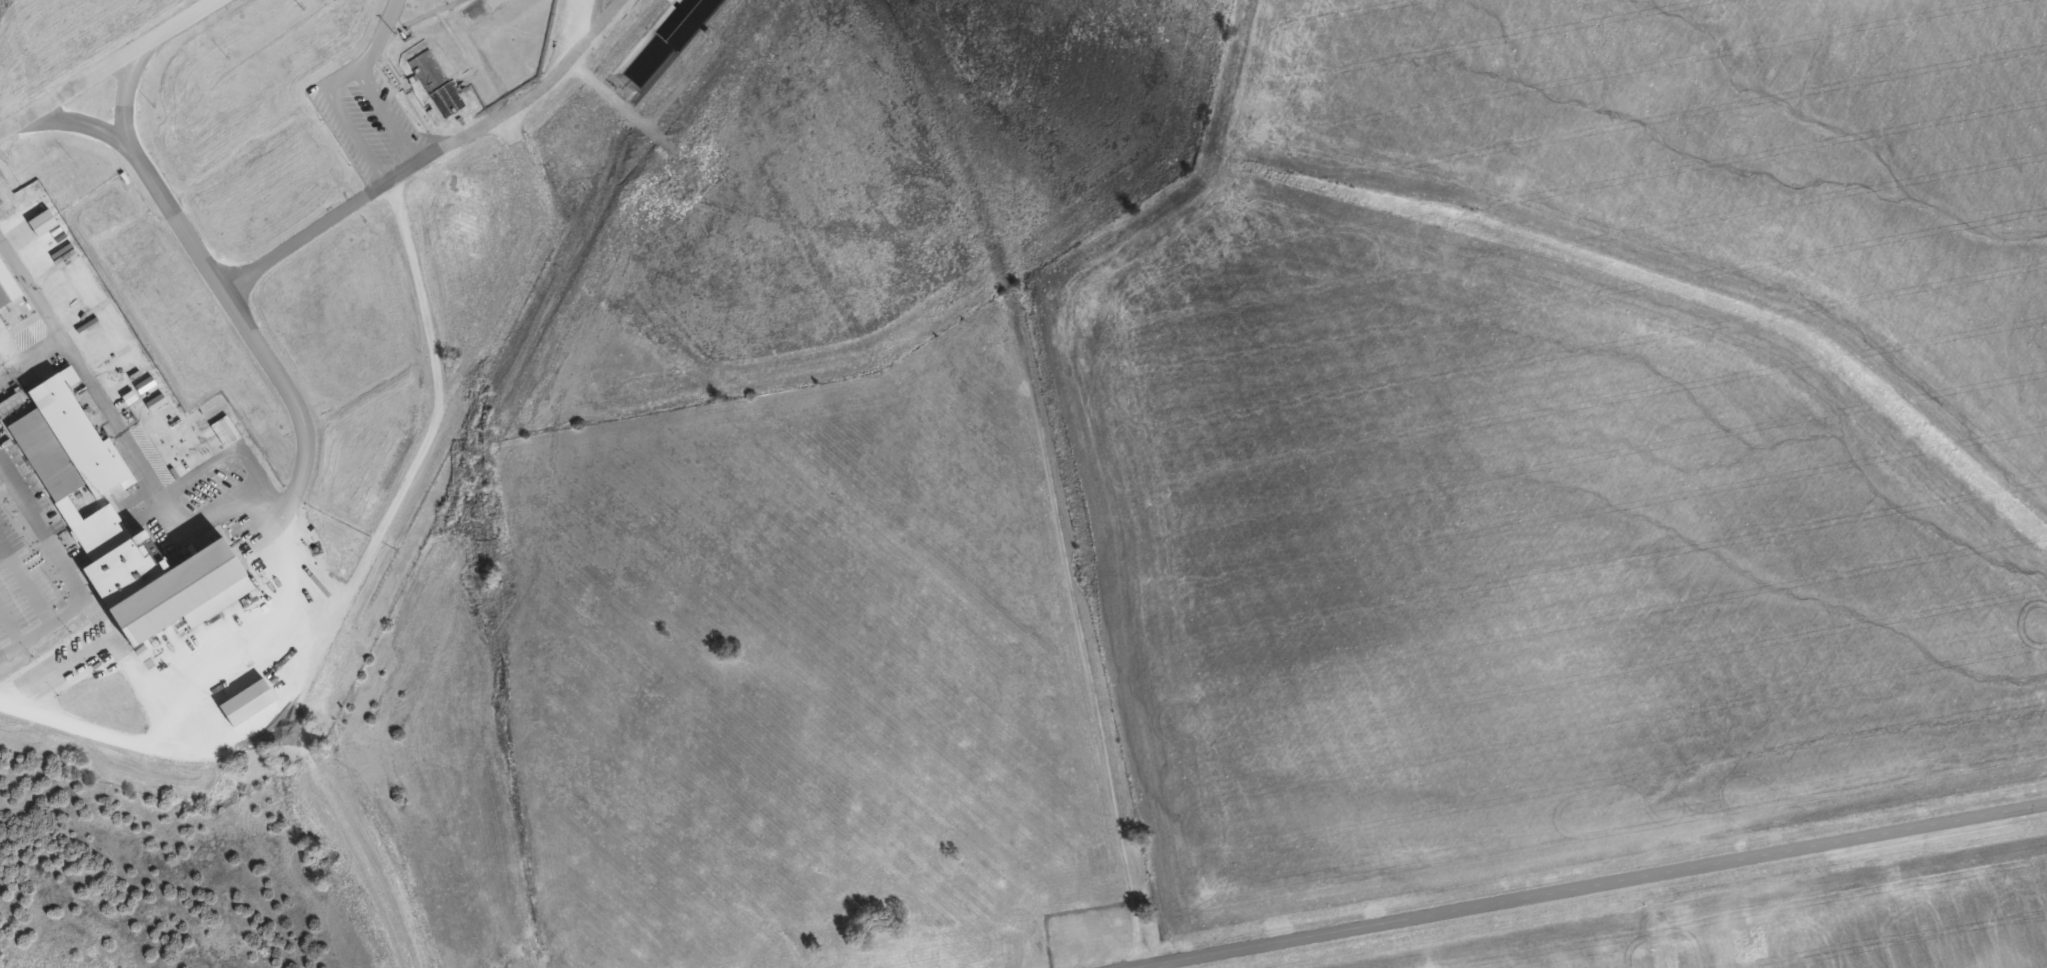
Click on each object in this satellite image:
road: (574, 10)
road: (565, 37)
road: (101, 64)
road: (362, 81)
building: (434, 83)
road: (528, 92)
road: (122, 94)
road: (618, 105)
road: (342, 119)
parking lot: (363, 119)
road: (307, 232)
building: (3, 298)
road: (256, 339)
road: (29, 357)
road: (75, 364)
railway: (90, 386)
parking lot: (10, 448)
building: (73, 462)
road: (1051, 471)
road: (15, 474)
parking lot: (35, 489)
road: (387, 513)
road: (311, 561)
building: (125, 570)
parking lot: (25, 593)
building: (174, 594)
road: (35, 597)
road: (9, 625)
road: (25, 637)
road: (120, 662)
road: (53, 670)
railway: (312, 741)
road: (348, 840)
road: (1595, 885)
road: (1653, 922)
road: (1135, 966)
road: (1143, 966)

